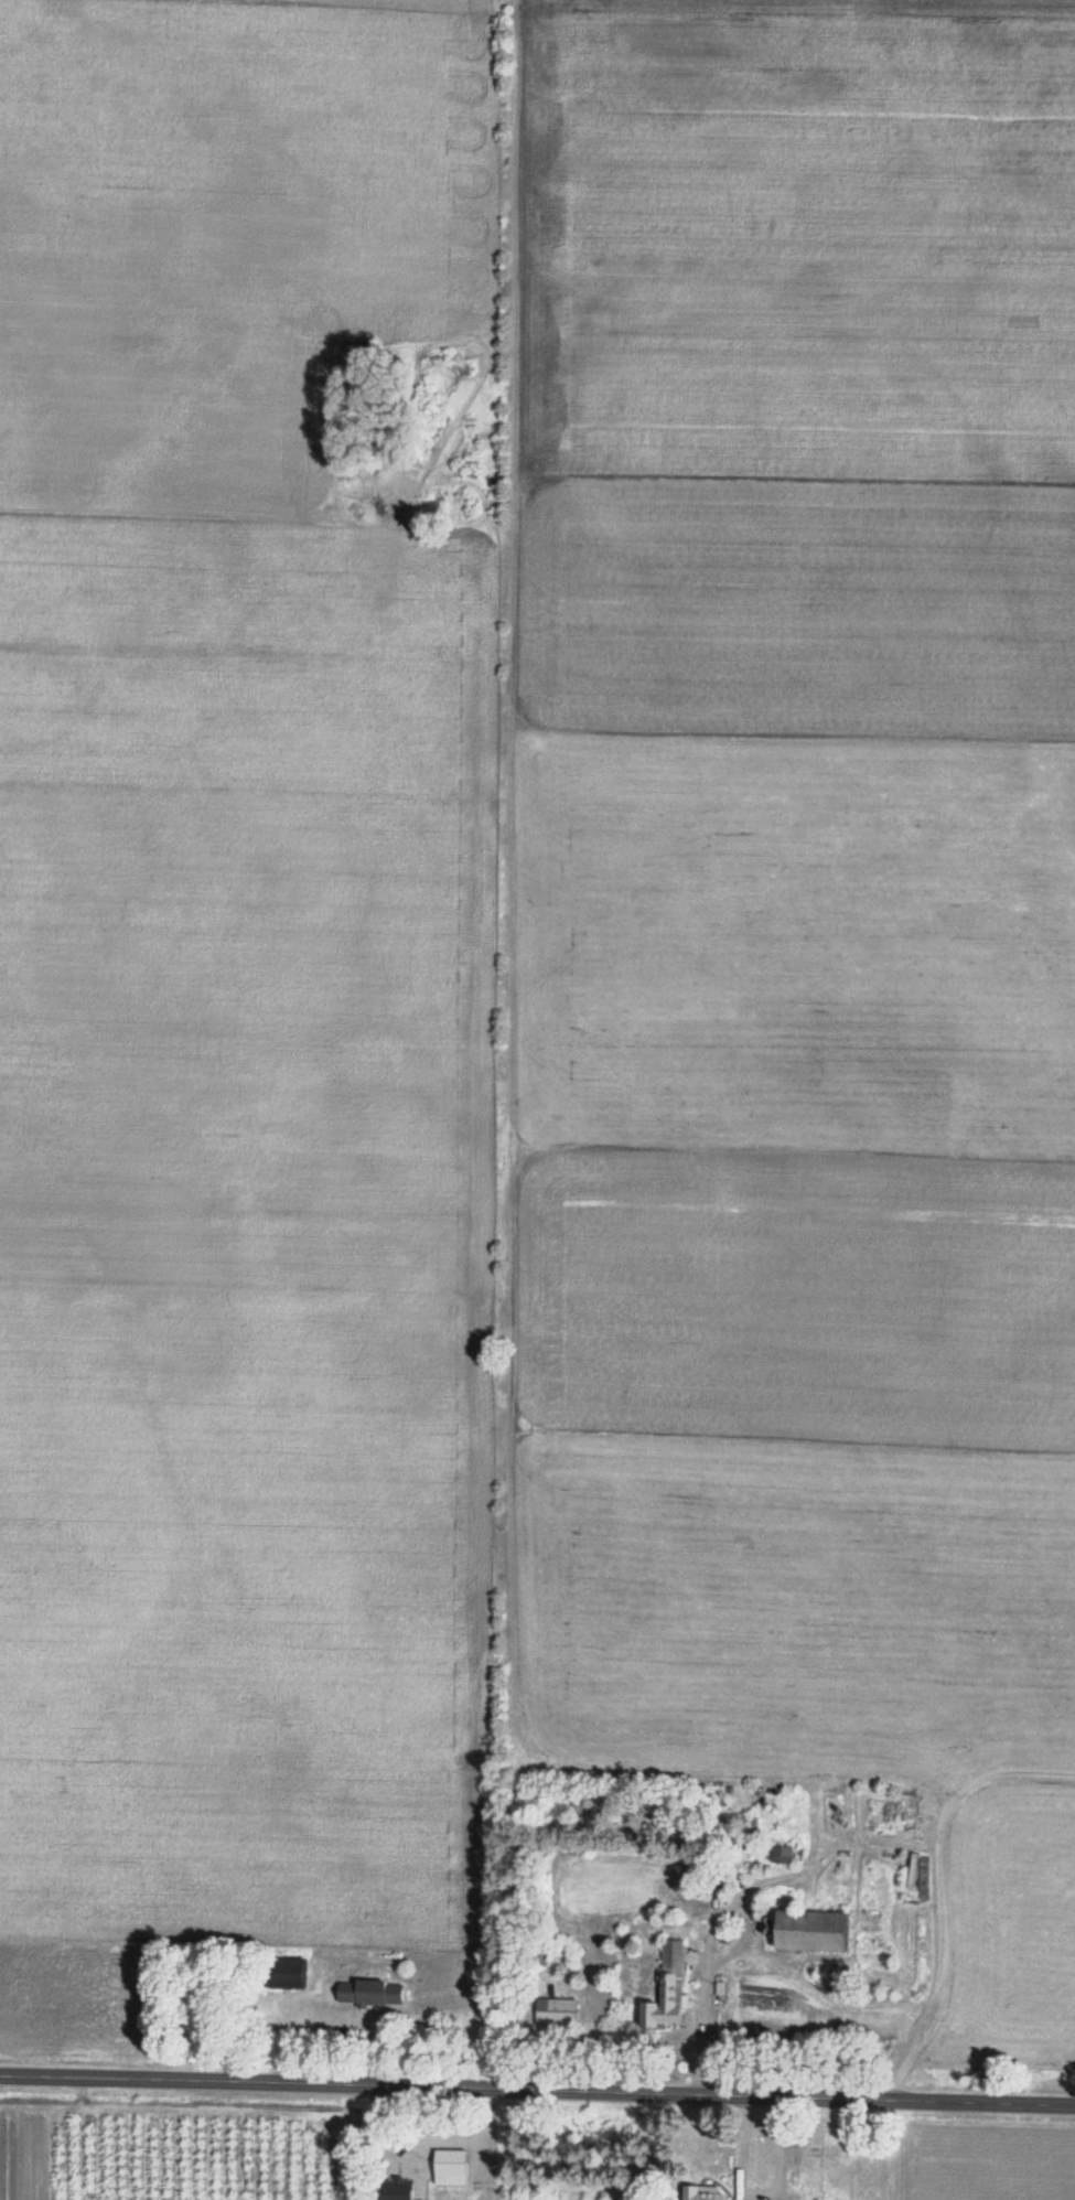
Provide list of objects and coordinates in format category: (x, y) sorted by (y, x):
building: (811, 1930)
building: (284, 1975)
building: (666, 1988)
building: (362, 1993)
building: (556, 2011)
road: (537, 2091)
building: (450, 2166)
building: (397, 2188)
building: (703, 2194)

